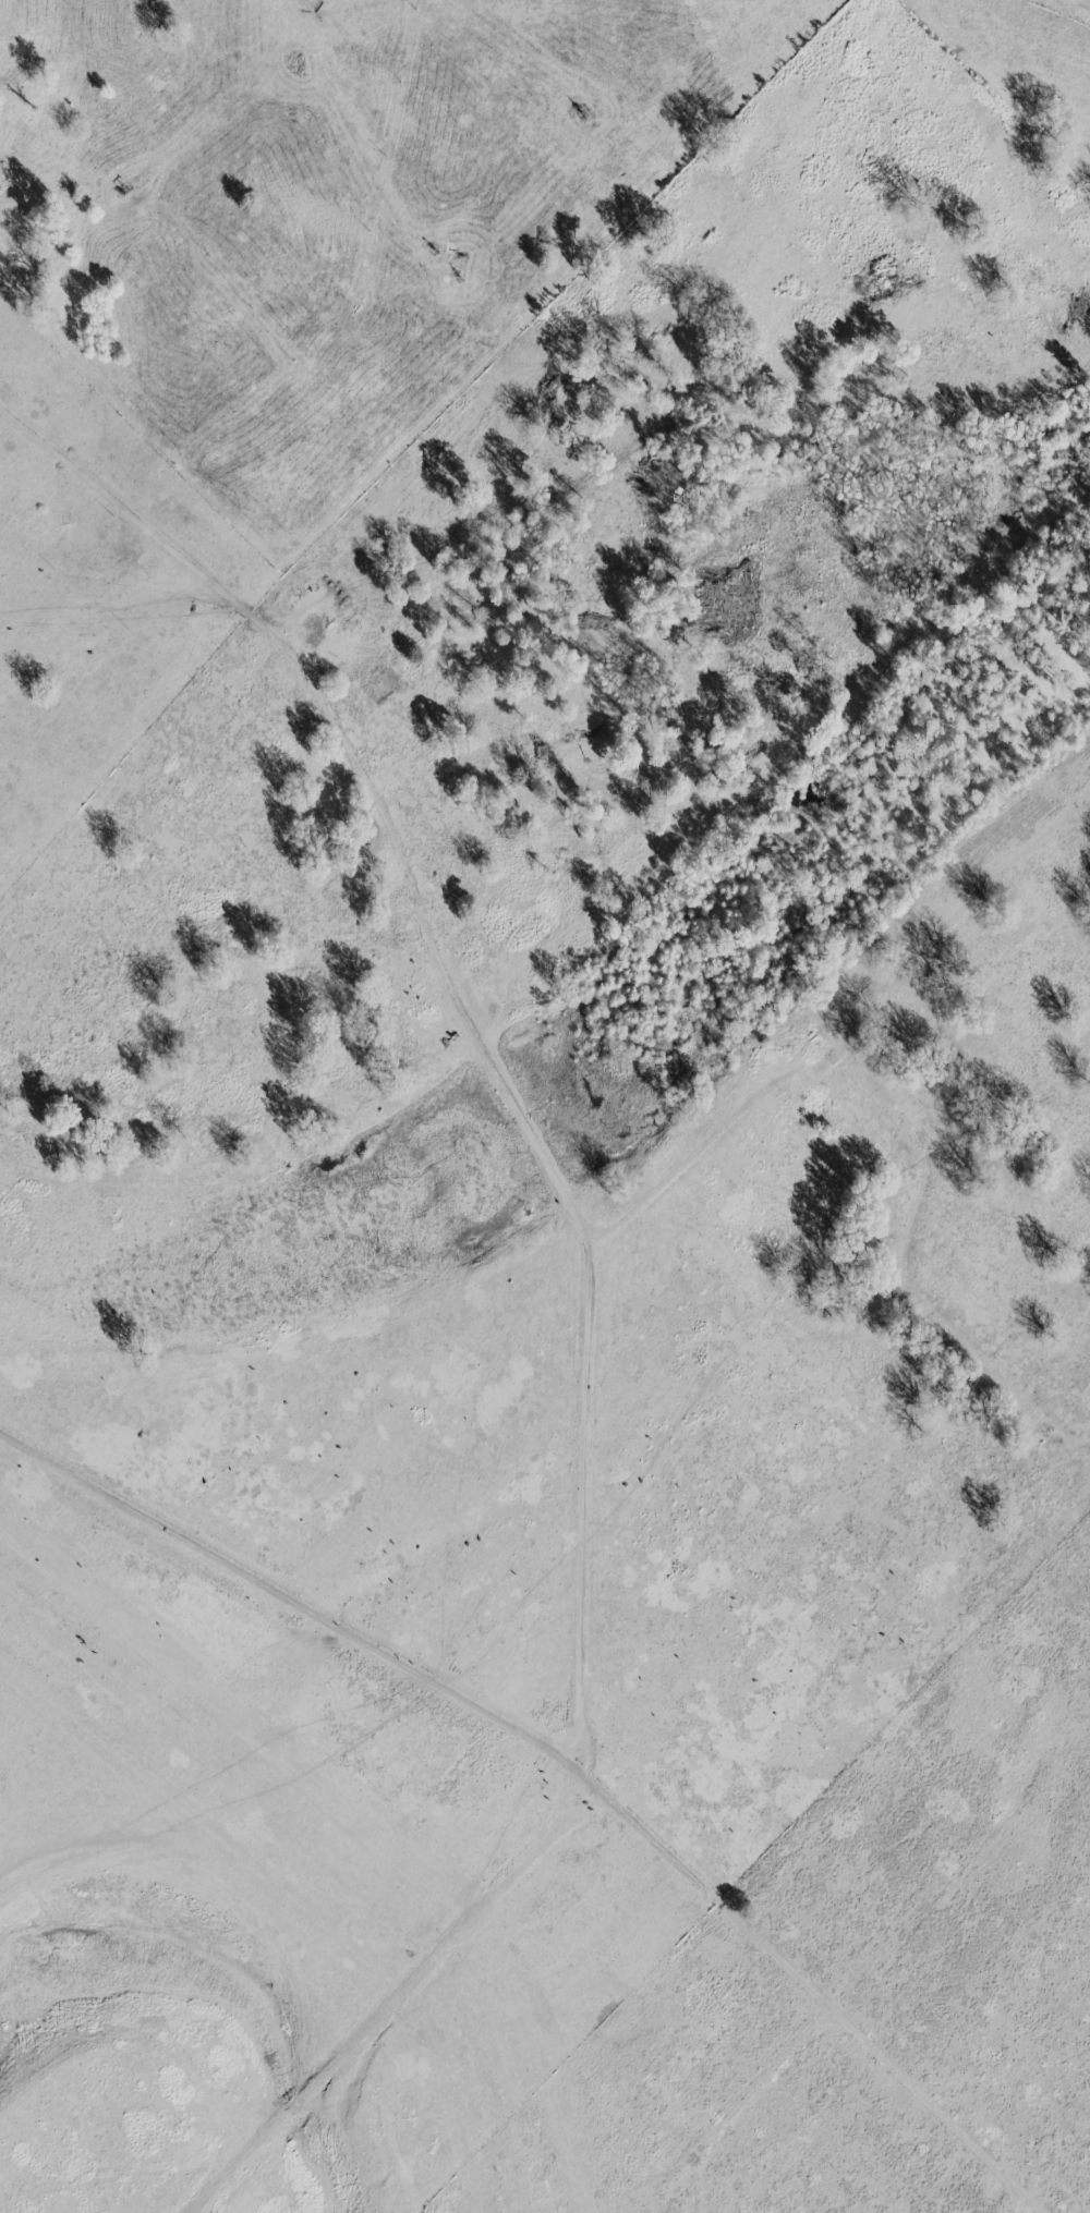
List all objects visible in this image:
road: (1052, 17)

